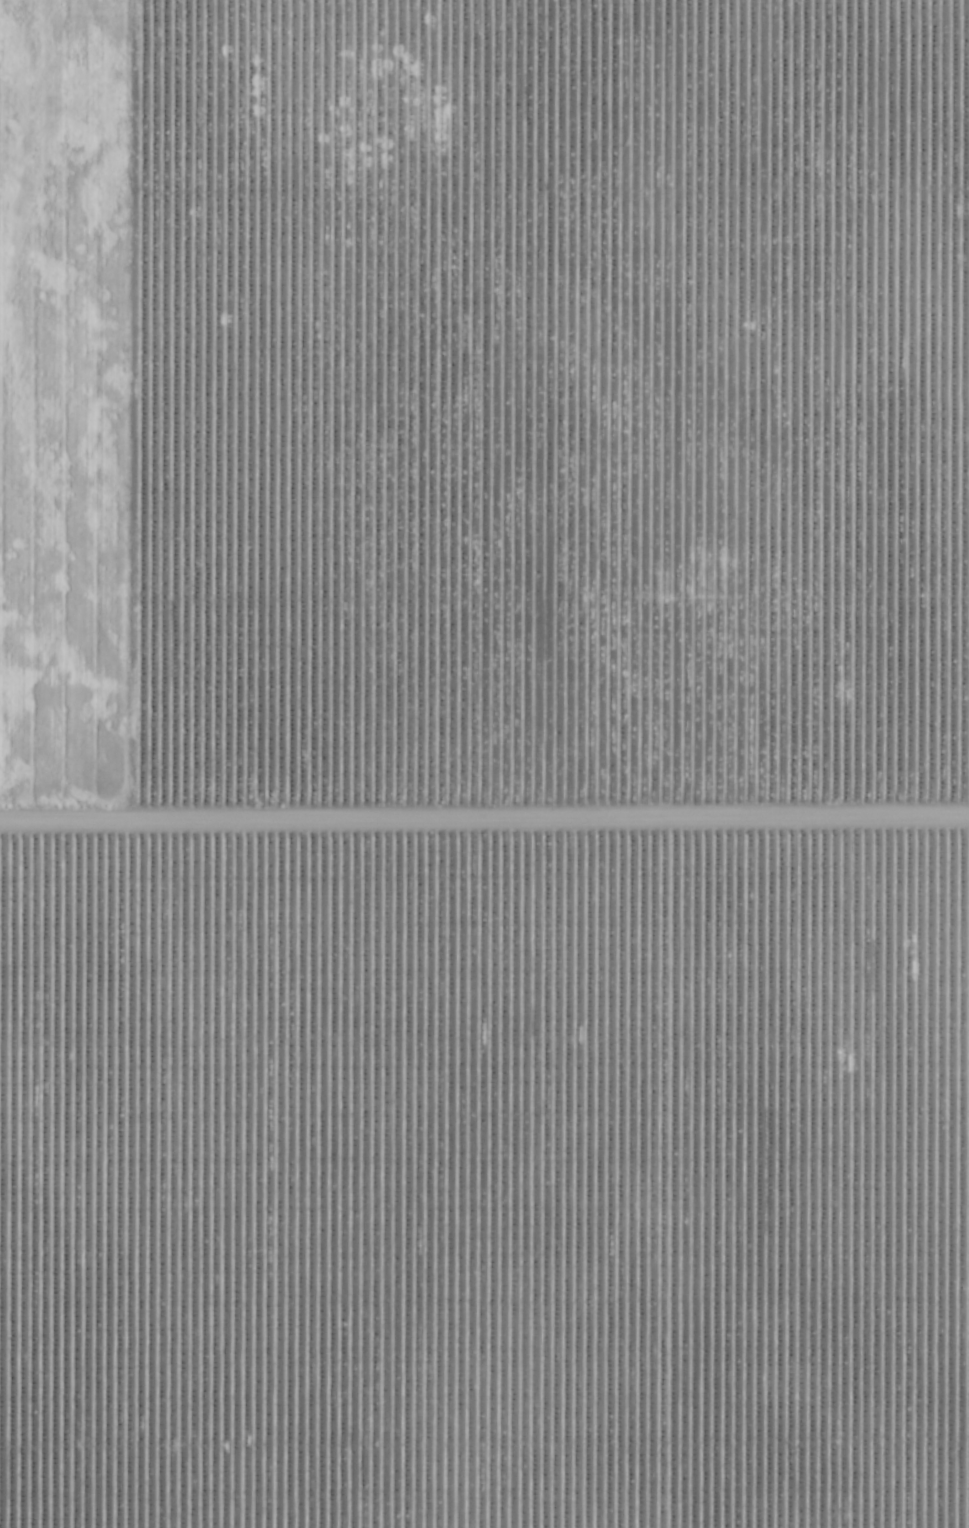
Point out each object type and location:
road: (484, 807)

